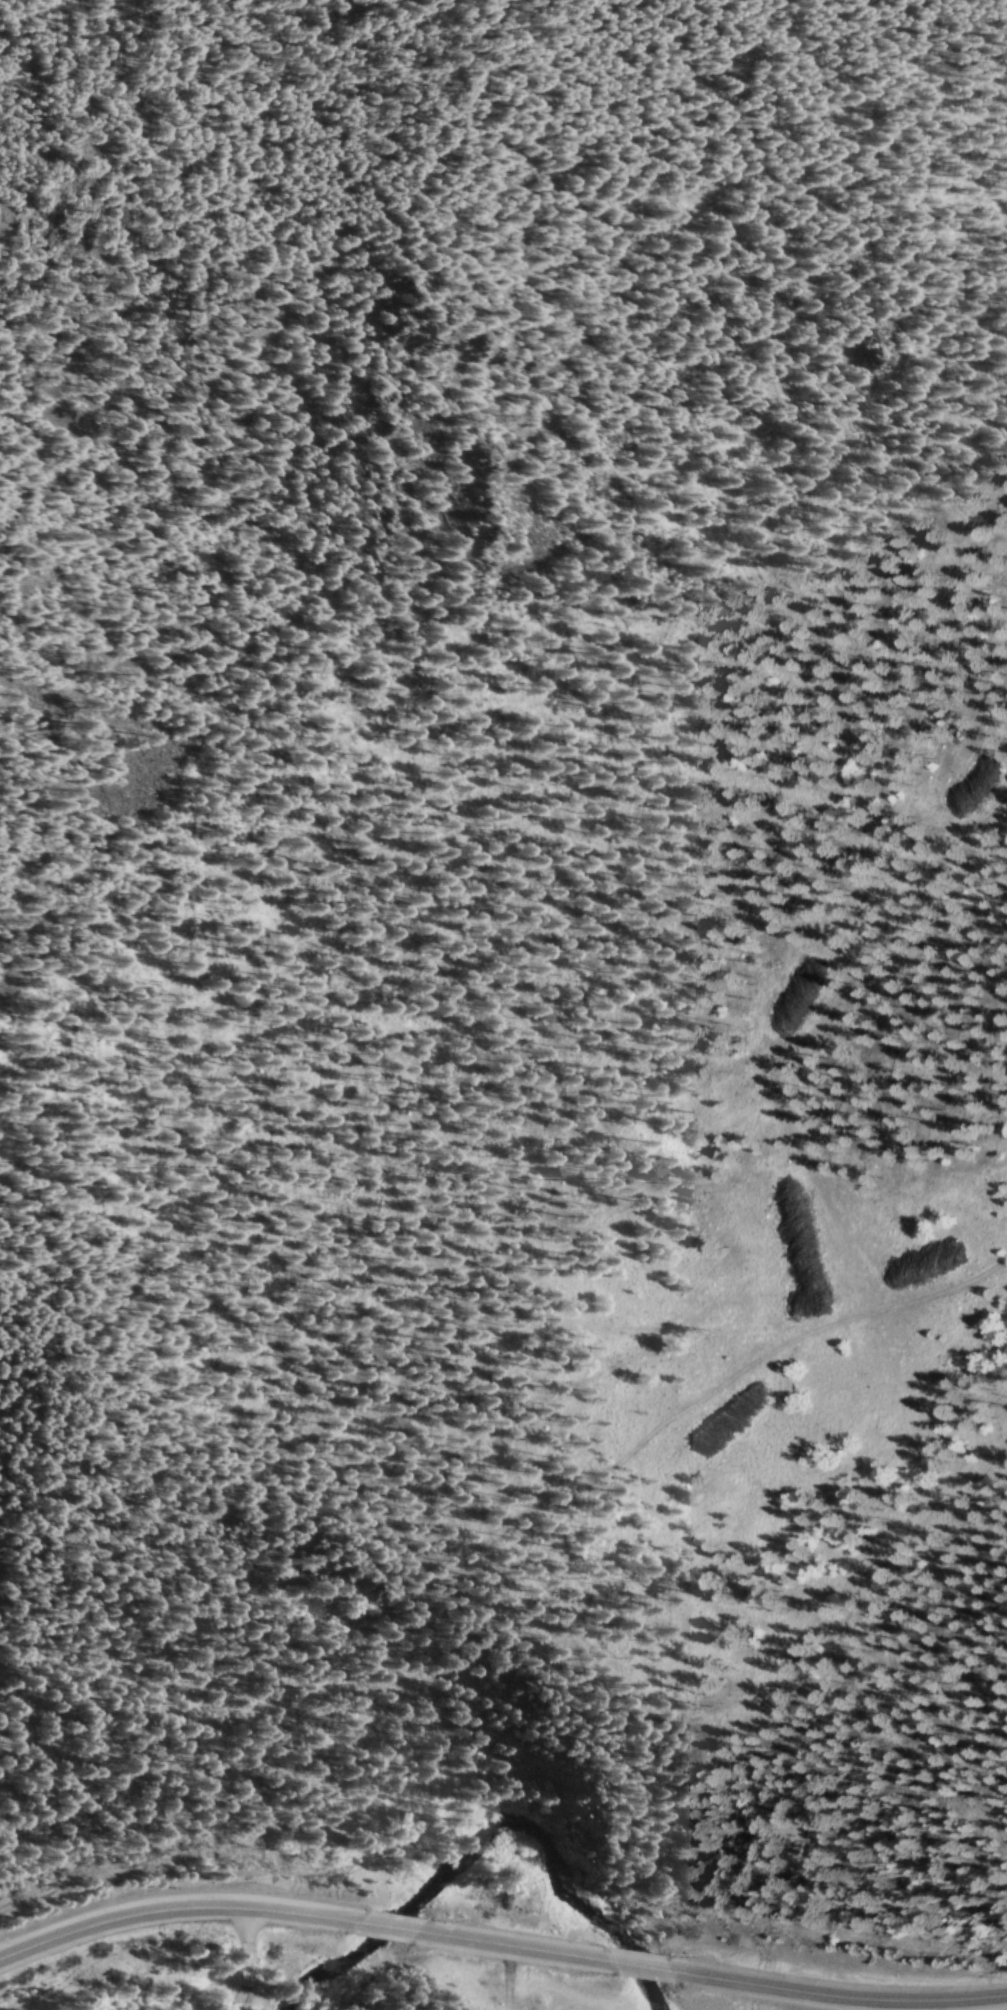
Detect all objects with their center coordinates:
road: (177, 1918)
road: (392, 1933)
road: (521, 1952)
road: (251, 1965)
road: (647, 1972)
road: (840, 2002)

